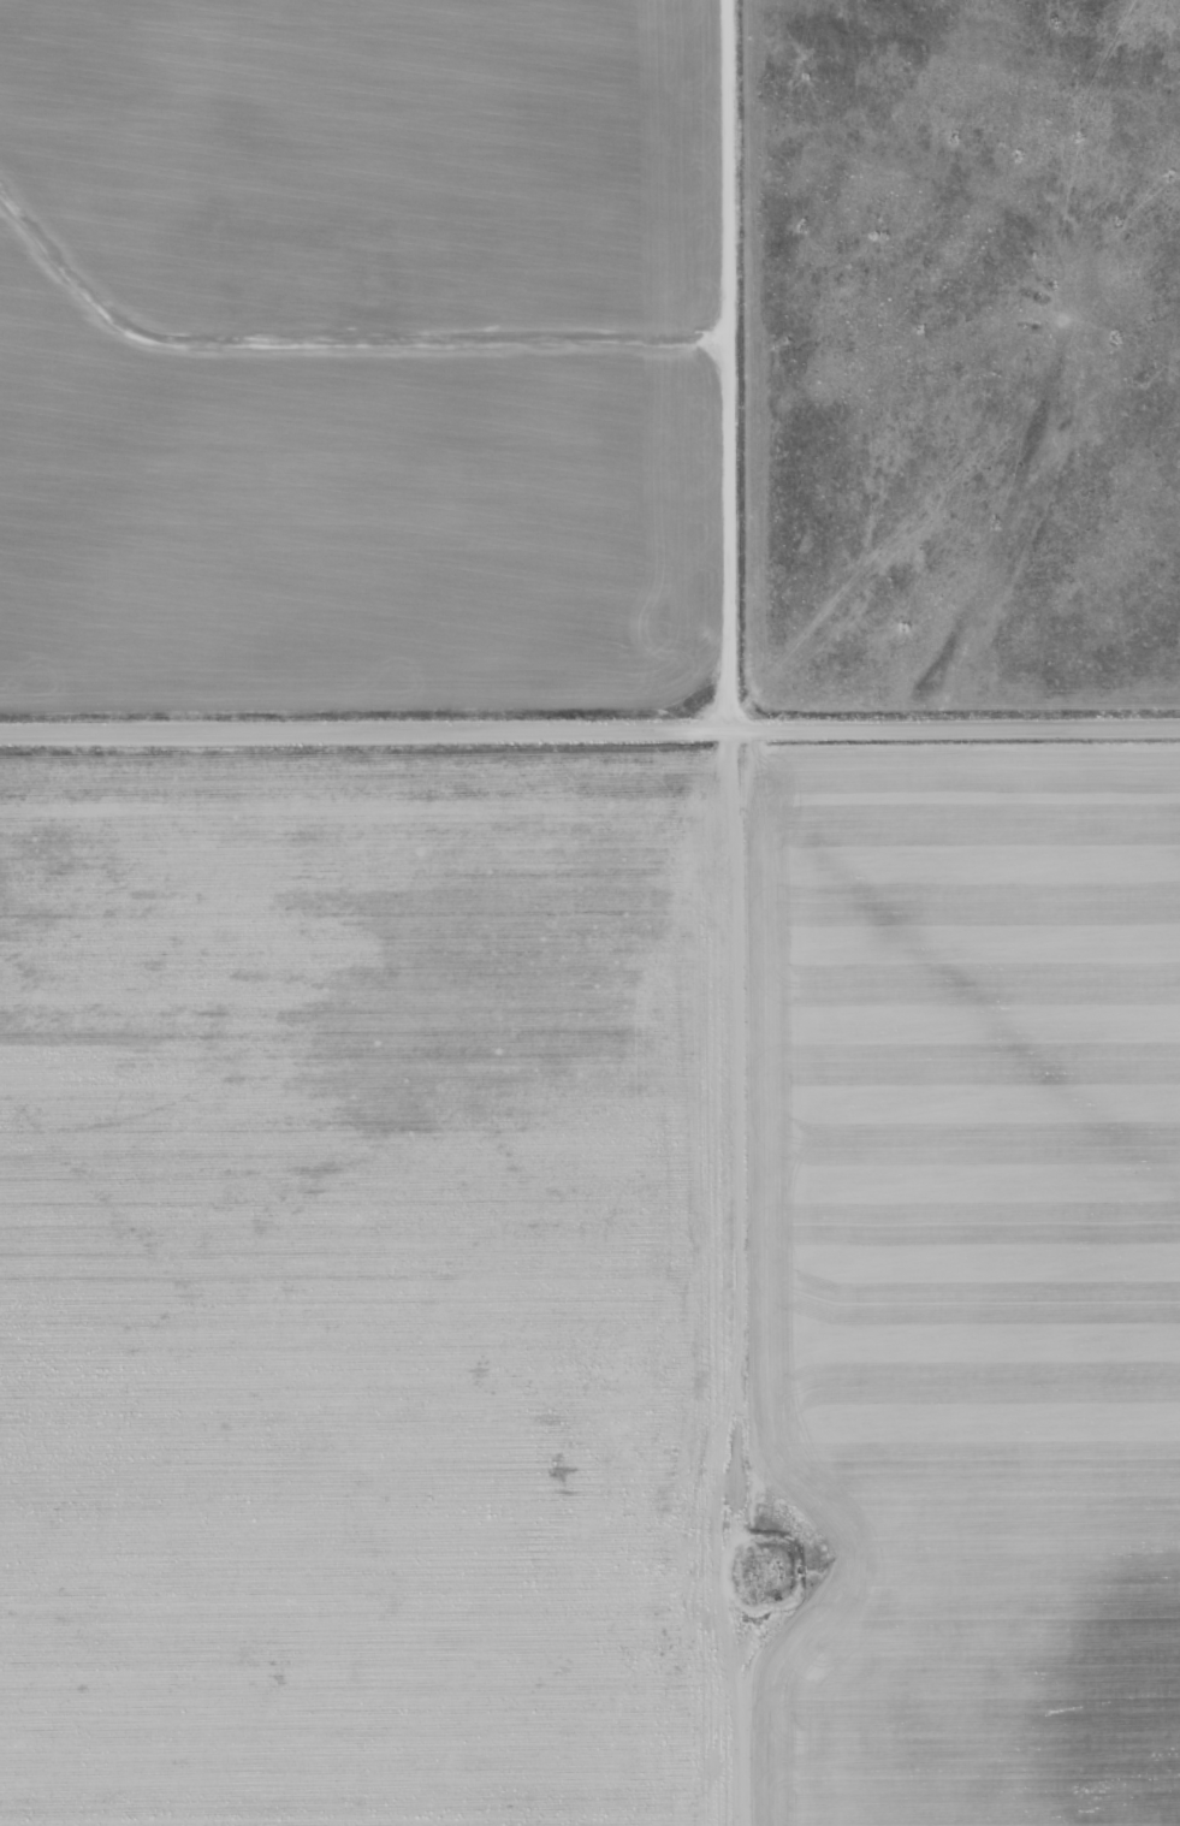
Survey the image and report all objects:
road: (734, 364)
road: (589, 729)
road: (737, 1279)

